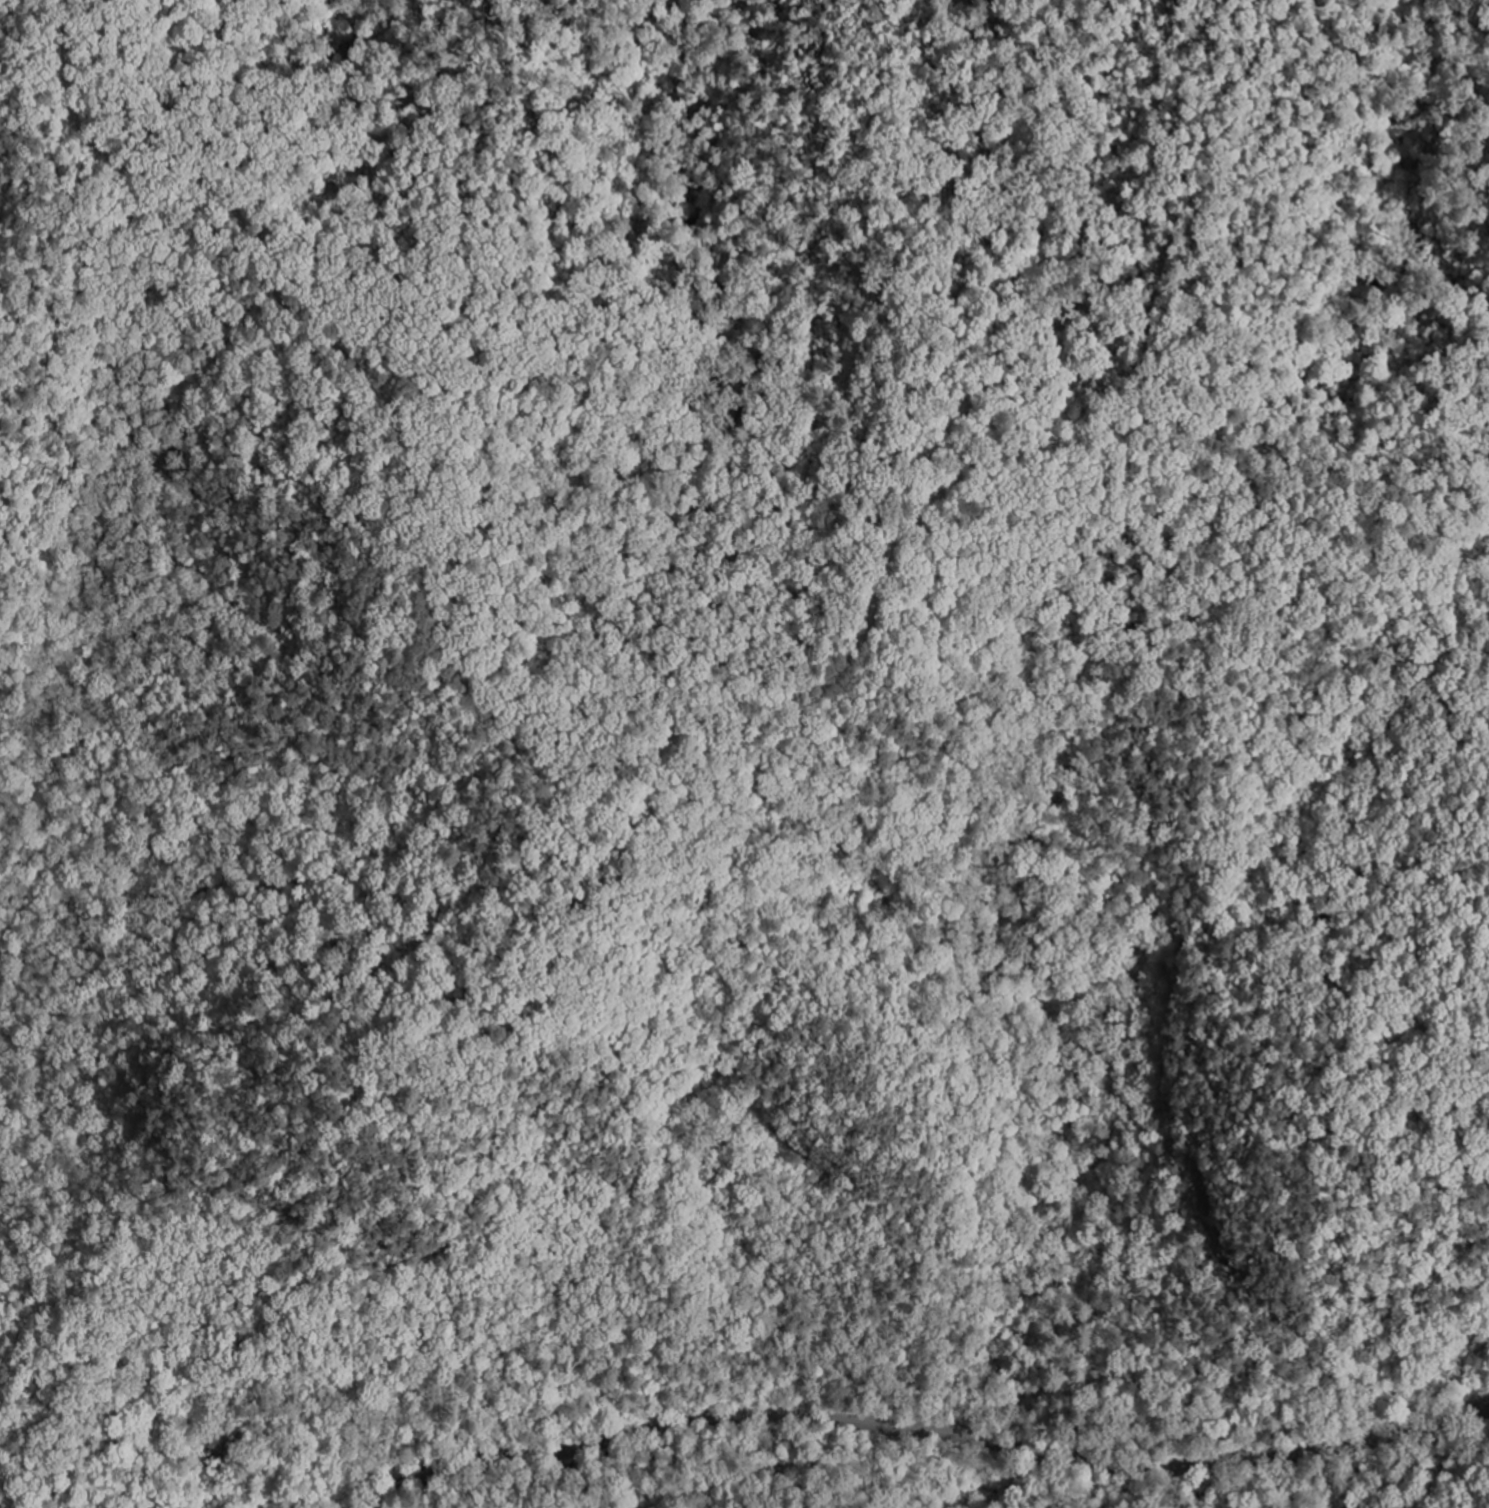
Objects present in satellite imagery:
road: (1235, 214)
road: (51, 243)
road: (618, 757)
road: (576, 914)
road: (916, 1428)

